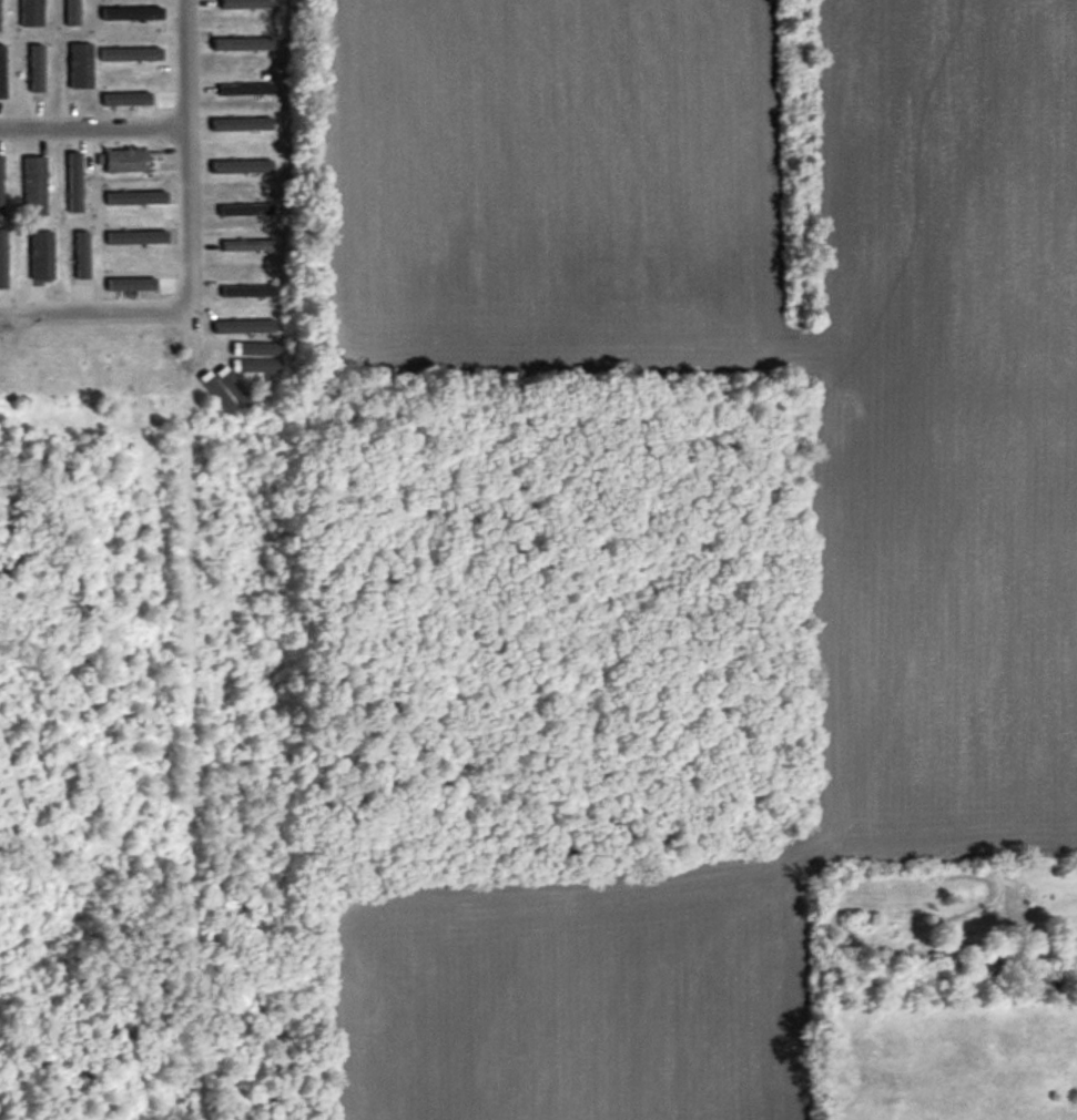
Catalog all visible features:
building: (31, 12)
building: (2, 71)
building: (245, 90)
road: (94, 126)
building: (126, 161)
road: (189, 172)
building: (34, 186)
building: (245, 211)
building: (248, 292)
road: (94, 310)

